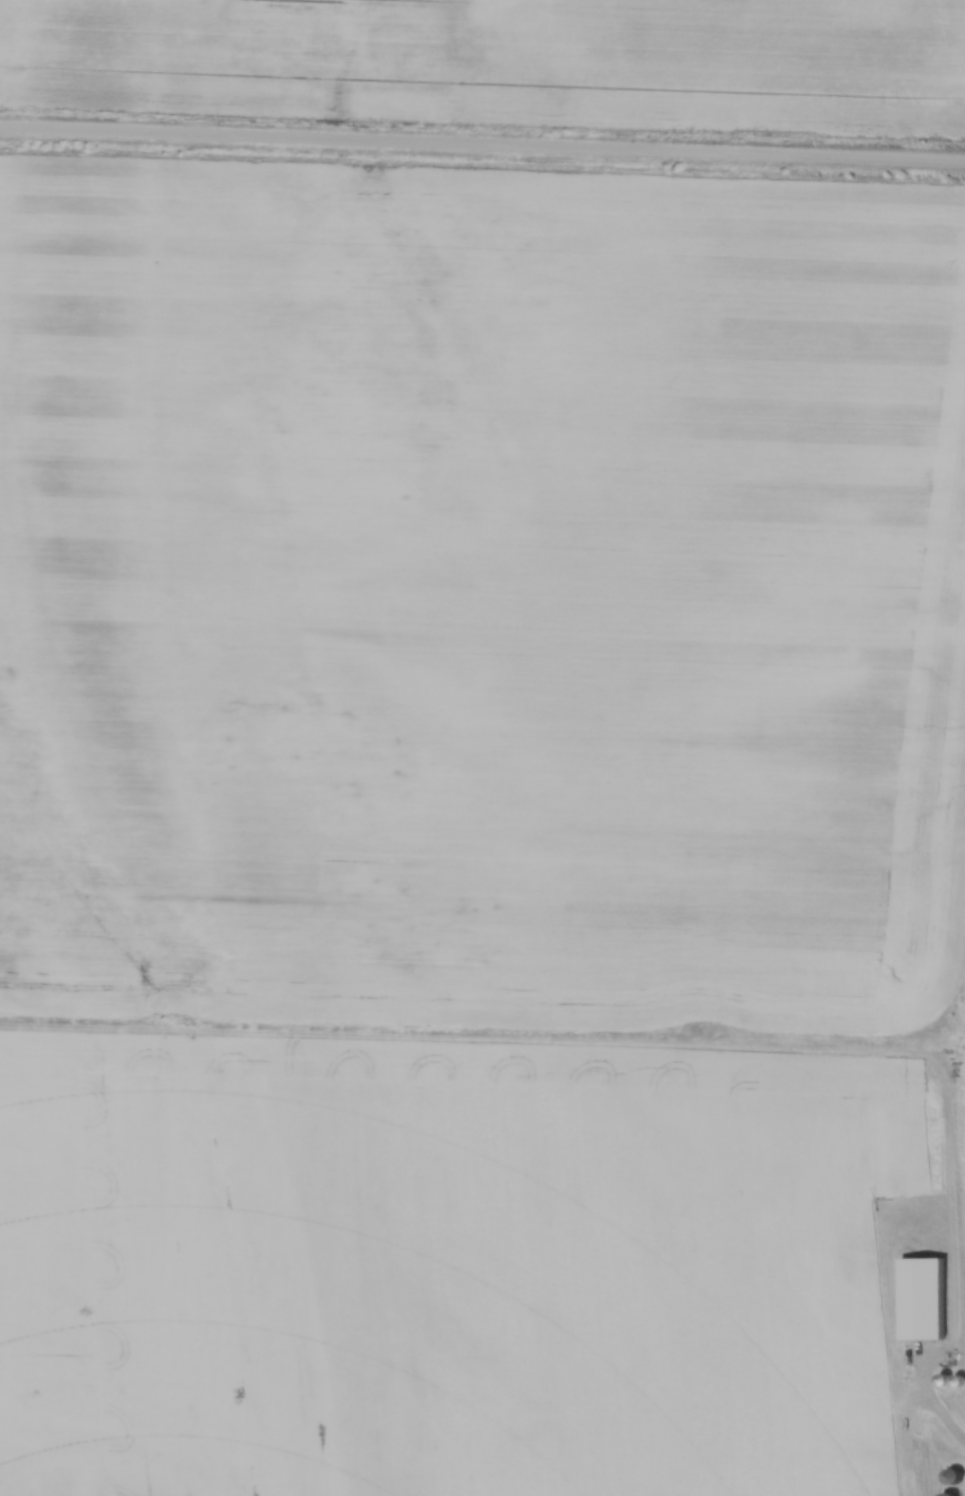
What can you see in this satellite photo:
road: (482, 142)
building: (921, 1297)
building: (951, 1475)
building: (949, 1494)

